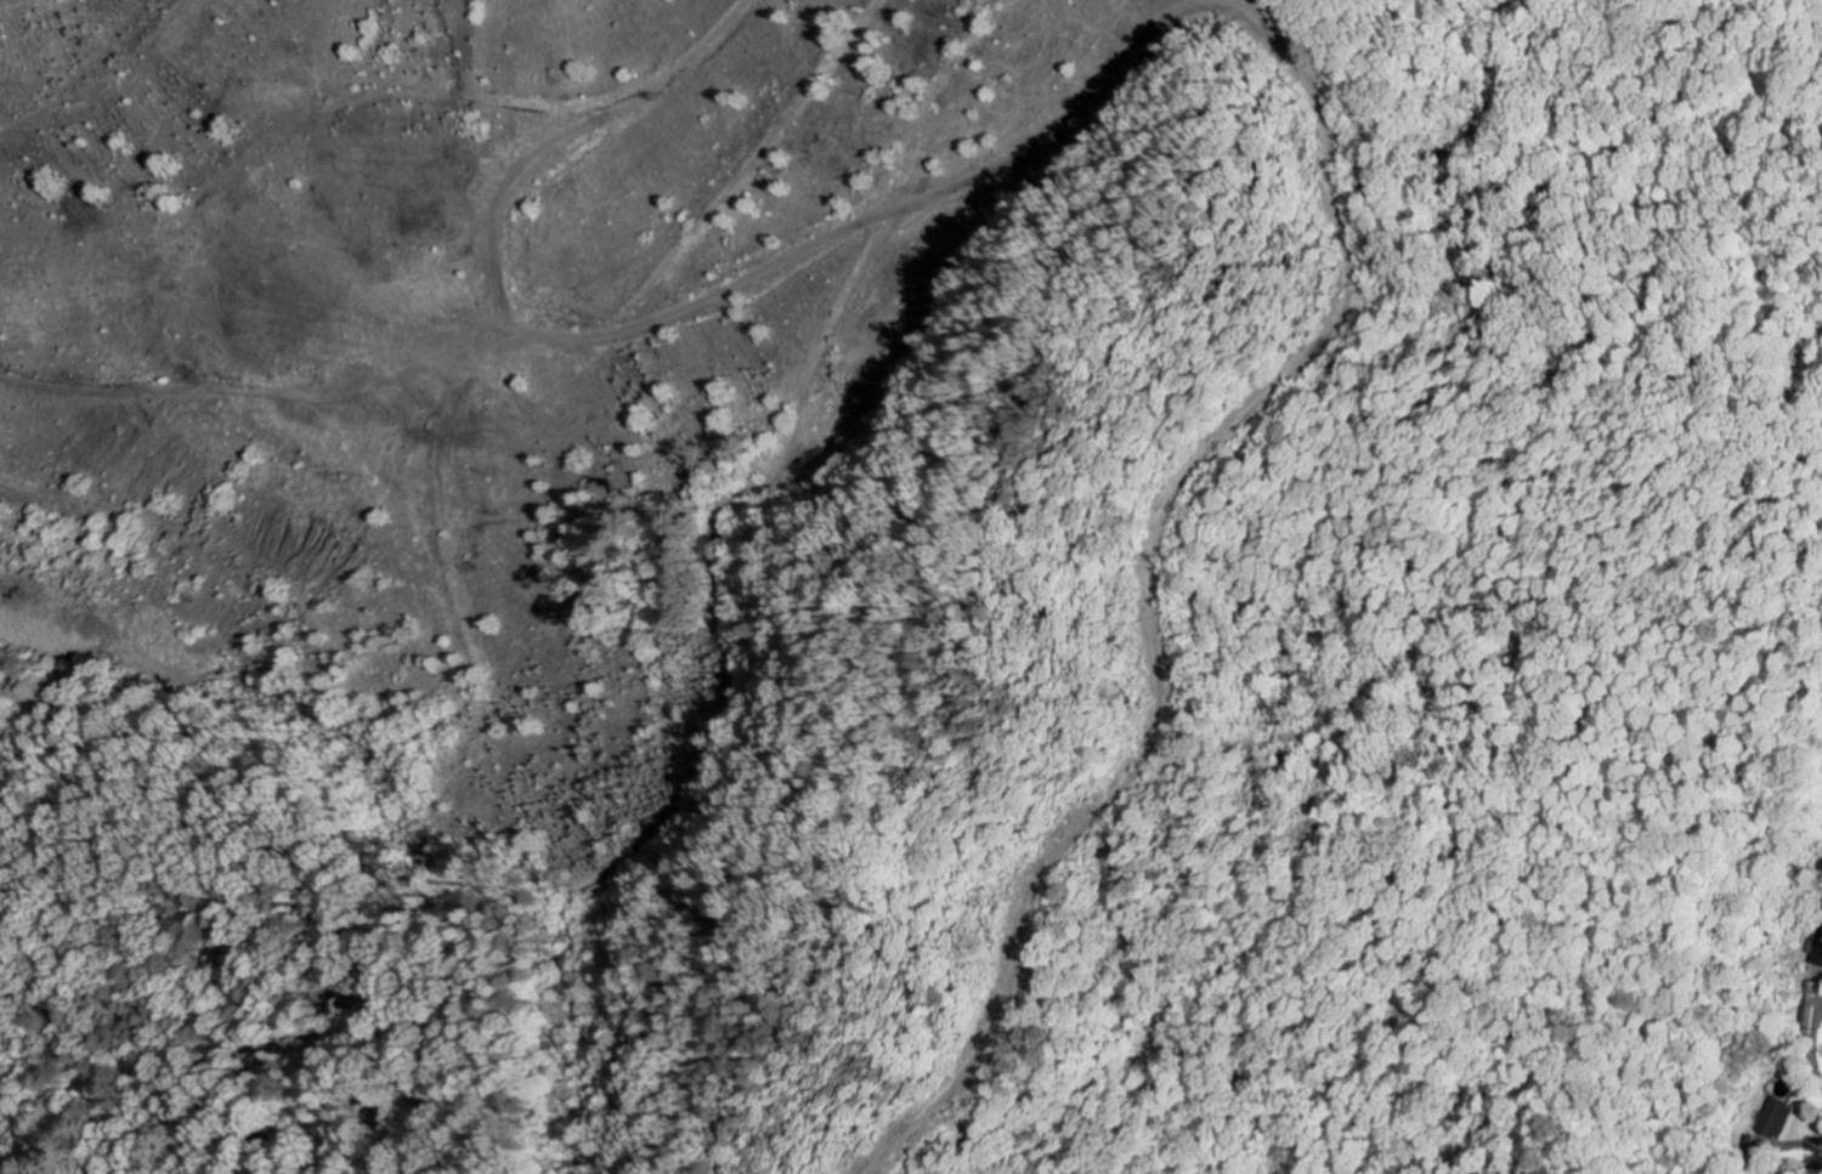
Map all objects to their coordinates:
building: (1781, 1119)

